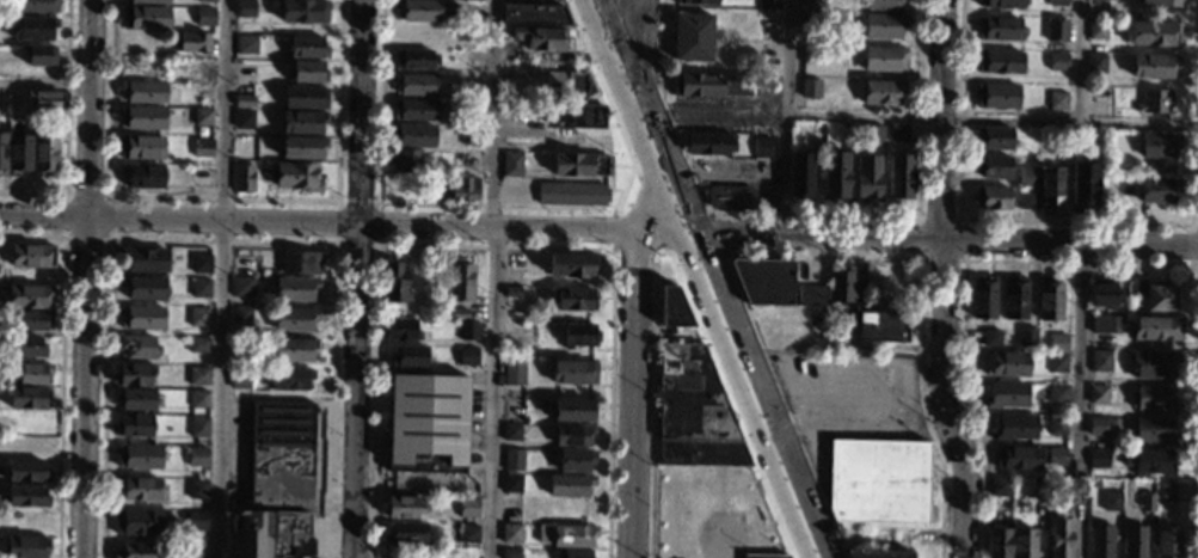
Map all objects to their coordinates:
building: (477, 0)
building: (204, 1)
building: (696, 1)
building: (148, 2)
building: (1057, 2)
building: (1161, 2)
building: (770, 4)
building: (812, 4)
building: (1001, 4)
building: (883, 5)
building: (35, 6)
building: (244, 8)
building: (418, 10)
building: (302, 11)
building: (540, 13)
building: (204, 17)
building: (145, 18)
building: (812, 20)
building: (884, 25)
building: (32, 27)
building: (999, 29)
building: (1056, 29)
building: (1096, 30)
building: (1154, 33)
building: (540, 38)
building: (692, 38)
building: (191, 43)
building: (245, 44)
building: (306, 47)
road: (620, 50)
road: (637, 51)
building: (811, 54)
building: (39, 55)
building: (414, 60)
building: (884, 60)
building: (1057, 61)
road: (1076, 61)
building: (999, 62)
building: (1096, 63)
building: (1155, 66)
building: (307, 72)
building: (244, 74)
building: (469, 84)
building: (416, 85)
building: (567, 85)
building: (711, 85)
road: (45, 86)
building: (810, 87)
building: (143, 92)
building: (883, 92)
building: (203, 93)
building: (996, 96)
building: (250, 98)
building: (305, 98)
building: (43, 102)
building: (1057, 102)
building: (1155, 102)
building: (414, 110)
building: (471, 111)
road: (492, 111)
road: (711, 111)
building: (579, 116)
building: (201, 117)
road: (786, 117)
building: (142, 118)
building: (242, 119)
road: (991, 121)
building: (302, 122)
building: (898, 133)
building: (413, 136)
building: (471, 136)
building: (995, 139)
building: (709, 143)
building: (1159, 145)
building: (762, 146)
building: (141, 147)
building: (302, 147)
building: (201, 148)
building: (2, 153)
building: (19, 153)
building: (44, 153)
building: (407, 161)
building: (511, 164)
road: (635, 165)
building: (580, 166)
road: (669, 166)
road: (650, 167)
building: (993, 167)
building: (1150, 168)
road: (729, 173)
building: (1027, 174)
building: (141, 176)
building: (799, 176)
building: (835, 176)
building: (198, 177)
building: (295, 177)
building: (242, 178)
building: (867, 178)
building: (899, 178)
building: (1083, 185)
building: (459, 188)
building: (1050, 189)
building: (1159, 191)
building: (571, 194)
building: (729, 196)
building: (994, 200)
building: (1026, 200)
road: (246, 217)
road: (565, 226)
road: (657, 228)
road: (947, 243)
building: (32, 256)
building: (142, 259)
road: (708, 259)
building: (199, 263)
building: (300, 263)
road: (689, 263)
building: (572, 265)
road: (87, 278)
road: (223, 278)
road: (357, 278)
building: (764, 280)
building: (460, 281)
road: (939, 281)
building: (394, 283)
building: (841, 286)
building: (143, 288)
building: (201, 288)
building: (241, 288)
building: (1136, 288)
building: (294, 289)
building: (511, 292)
building: (1102, 294)
building: (811, 295)
building: (29, 296)
building: (983, 299)
building: (1014, 299)
building: (1159, 299)
building: (573, 300)
building: (1049, 301)
building: (672, 308)
building: (512, 312)
building: (459, 314)
building: (842, 314)
building: (239, 315)
building: (141, 317)
building: (197, 318)
building: (294, 319)
building: (30, 320)
building: (1100, 325)
building: (881, 326)
building: (781, 327)
building: (1156, 329)
building: (399, 330)
building: (468, 331)
building: (577, 336)
building: (990, 336)
building: (1026, 336)
building: (1057, 344)
building: (198, 345)
building: (29, 347)
building: (137, 347)
building: (291, 349)
building: (467, 356)
building: (408, 357)
building: (1100, 361)
building: (1057, 363)
building: (1006, 364)
building: (1154, 364)
building: (512, 373)
building: (572, 373)
building: (31, 374)
building: (134, 374)
building: (197, 376)
building: (240, 378)
building: (289, 379)
road: (492, 390)
road: (633, 393)
building: (1058, 393)
building: (1098, 394)
building: (1006, 395)
building: (30, 398)
building: (135, 399)
building: (198, 399)
building: (1153, 399)
road: (1085, 401)
building: (573, 410)
building: (694, 412)
building: (426, 417)
building: (1114, 422)
road: (764, 424)
building: (133, 425)
building: (1057, 427)
building: (1098, 427)
building: (198, 428)
building: (1015, 428)
building: (1154, 431)
building: (511, 433)
building: (572, 436)
building: (197, 456)
building: (278, 456)
building: (1056, 456)
building: (139, 458)
building: (1016, 458)
building: (1098, 459)
building: (512, 460)
building: (576, 460)
building: (1149, 461)
building: (27, 472)
building: (878, 482)
building: (511, 484)
building: (1094, 484)
building: (999, 485)
building: (569, 486)
building: (1040, 486)
building: (1076, 486)
building: (140, 489)
building: (196, 490)
building: (1165, 491)
building: (26, 497)
building: (1111, 502)
building: (1145, 502)
building: (403, 508)
building: (468, 508)
building: (193, 520)
building: (137, 522)
building: (405, 533)
building: (269, 534)
building: (468, 534)
building: (510, 534)
building: (572, 535)
building: (1059, 538)
building: (1100, 541)
building: (1134, 541)
building: (1166, 541)
building: (997, 542)
building: (1024, 542)
building: (26, 547)
building: (134, 551)
building: (196, 551)
building: (510, 553)
building: (877, 553)
building: (573, 554)
building: (763, 556)

